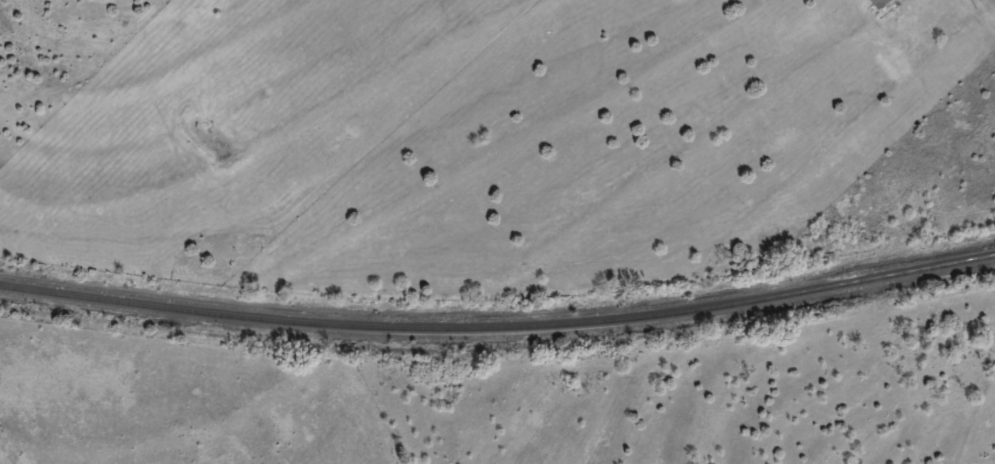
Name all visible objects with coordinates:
building: (874, 0)
railway: (499, 328)

